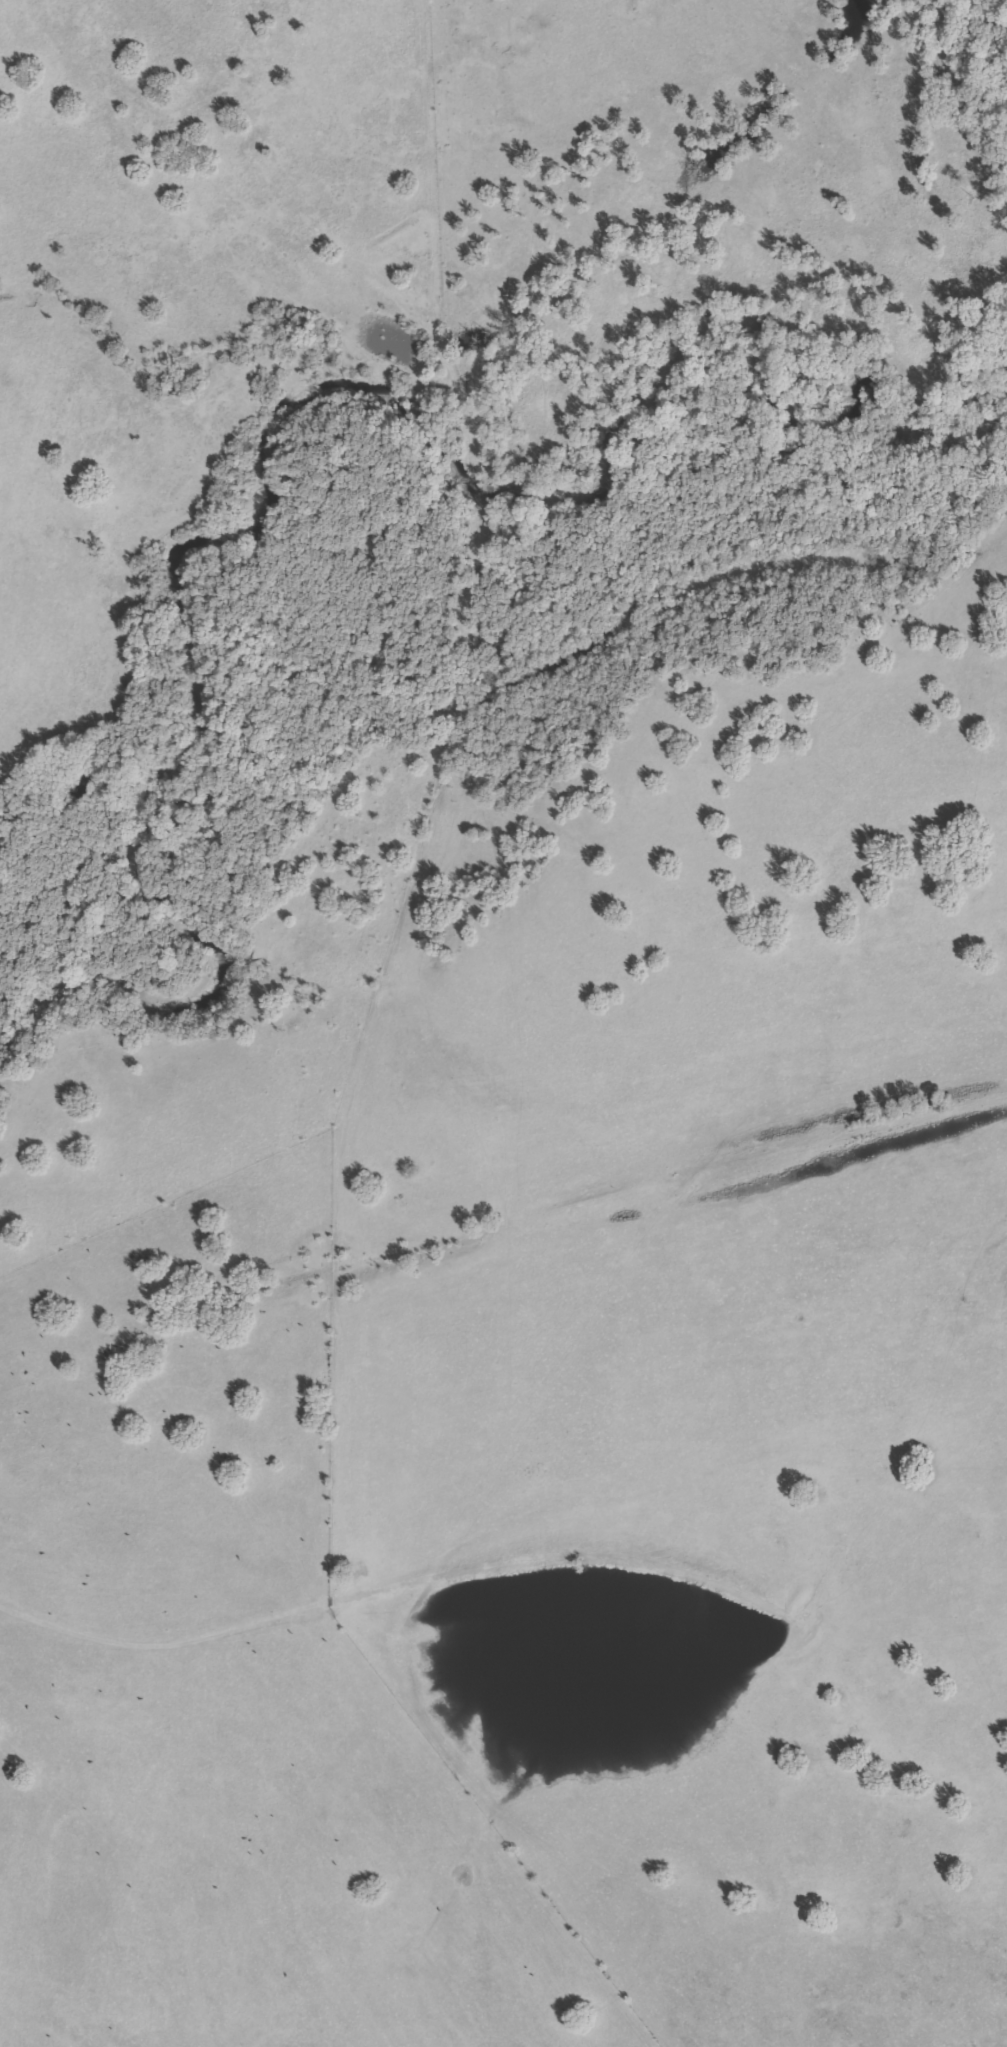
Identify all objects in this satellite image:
road: (495, 1523)

